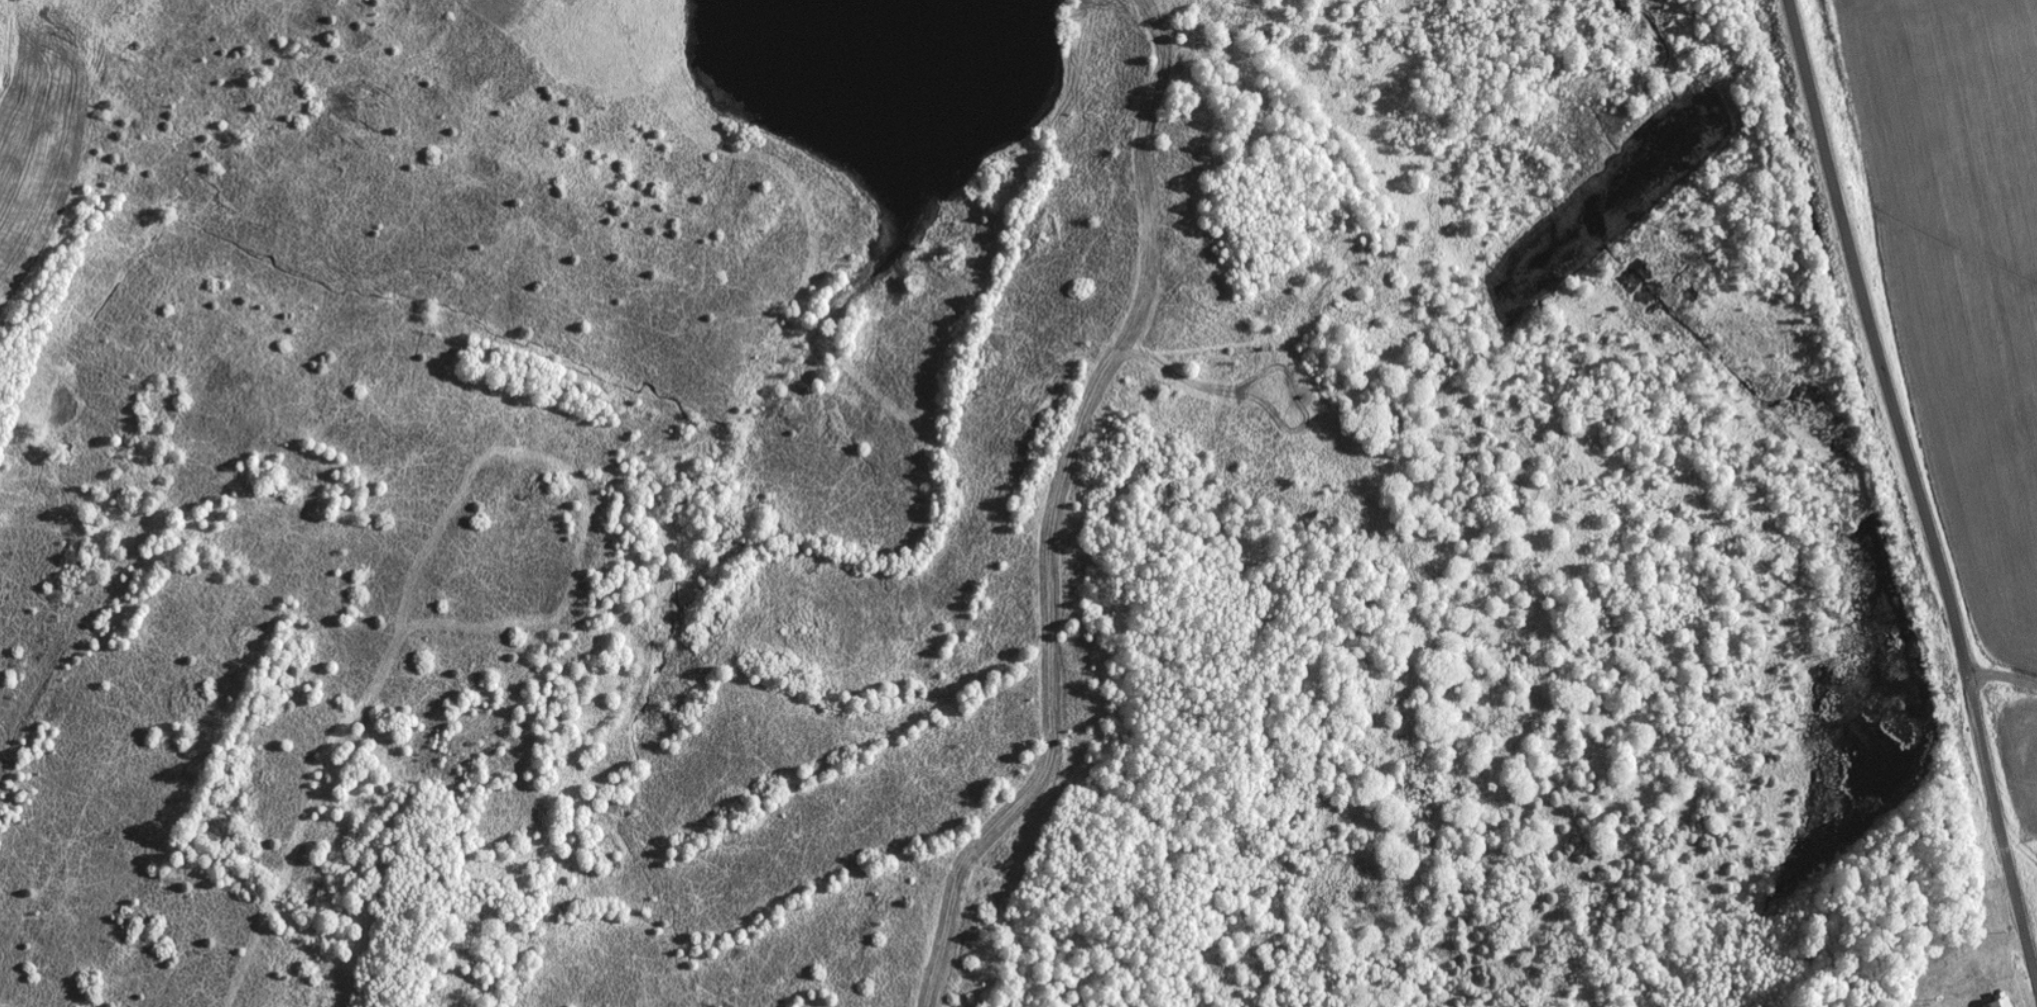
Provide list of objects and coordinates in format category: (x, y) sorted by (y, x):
road: (1923, 490)
building: (1992, 1003)

